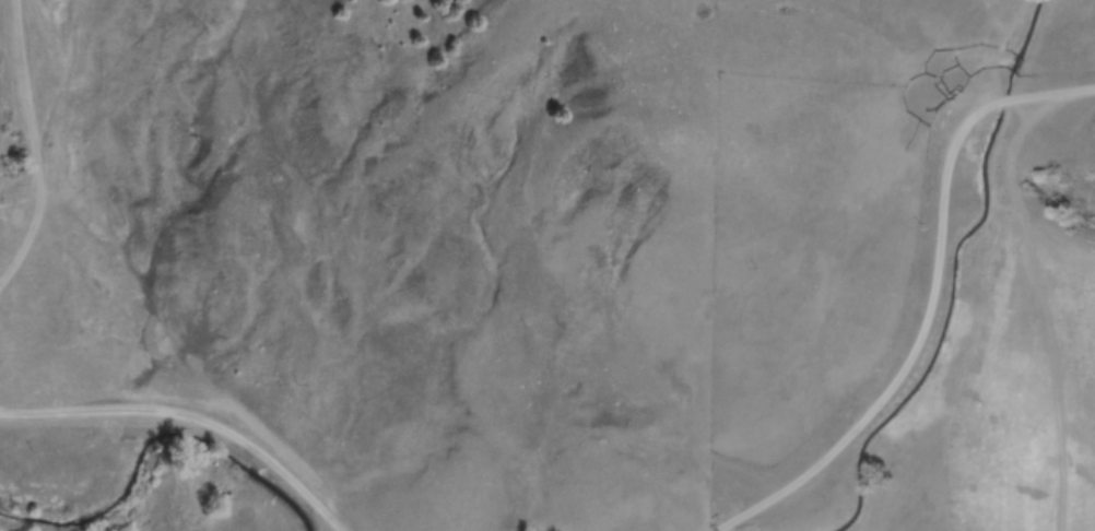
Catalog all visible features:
road: (825, 338)
road: (181, 444)

